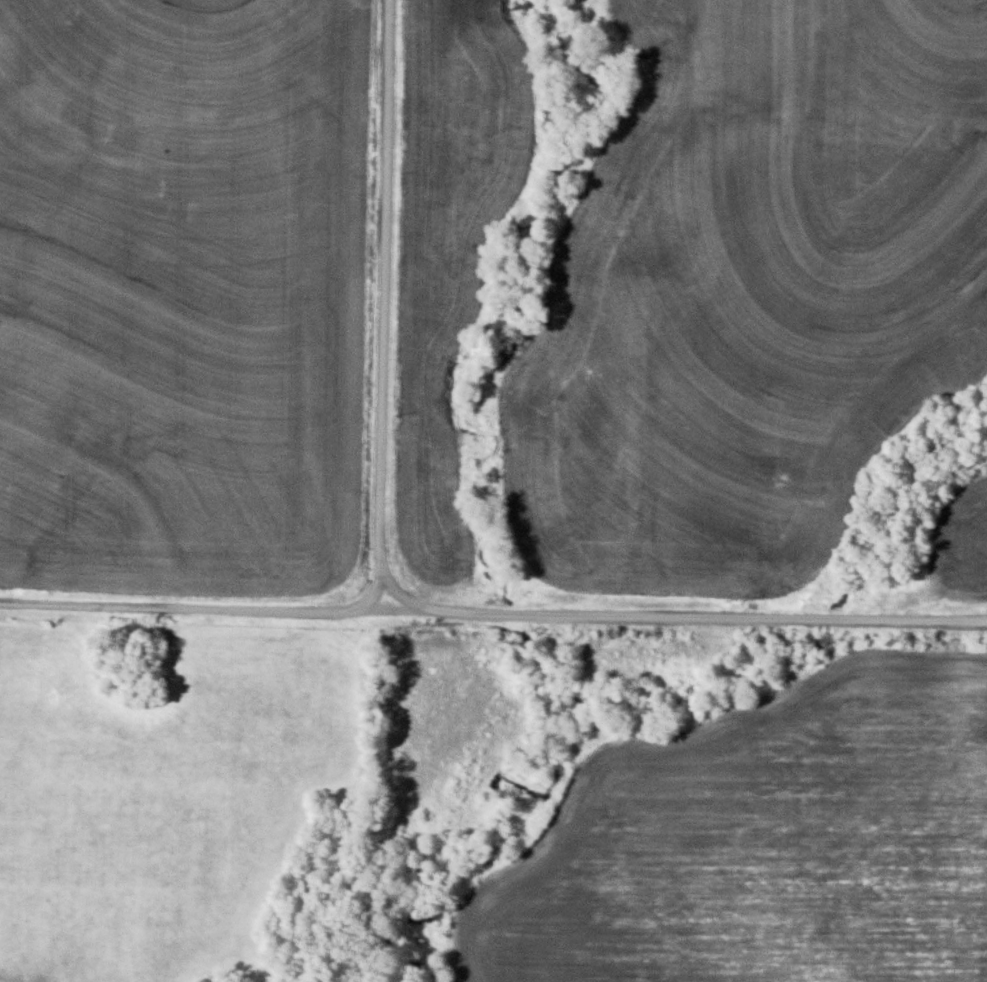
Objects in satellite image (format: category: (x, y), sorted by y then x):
building: (53, 137)
road: (387, 298)
road: (491, 615)

